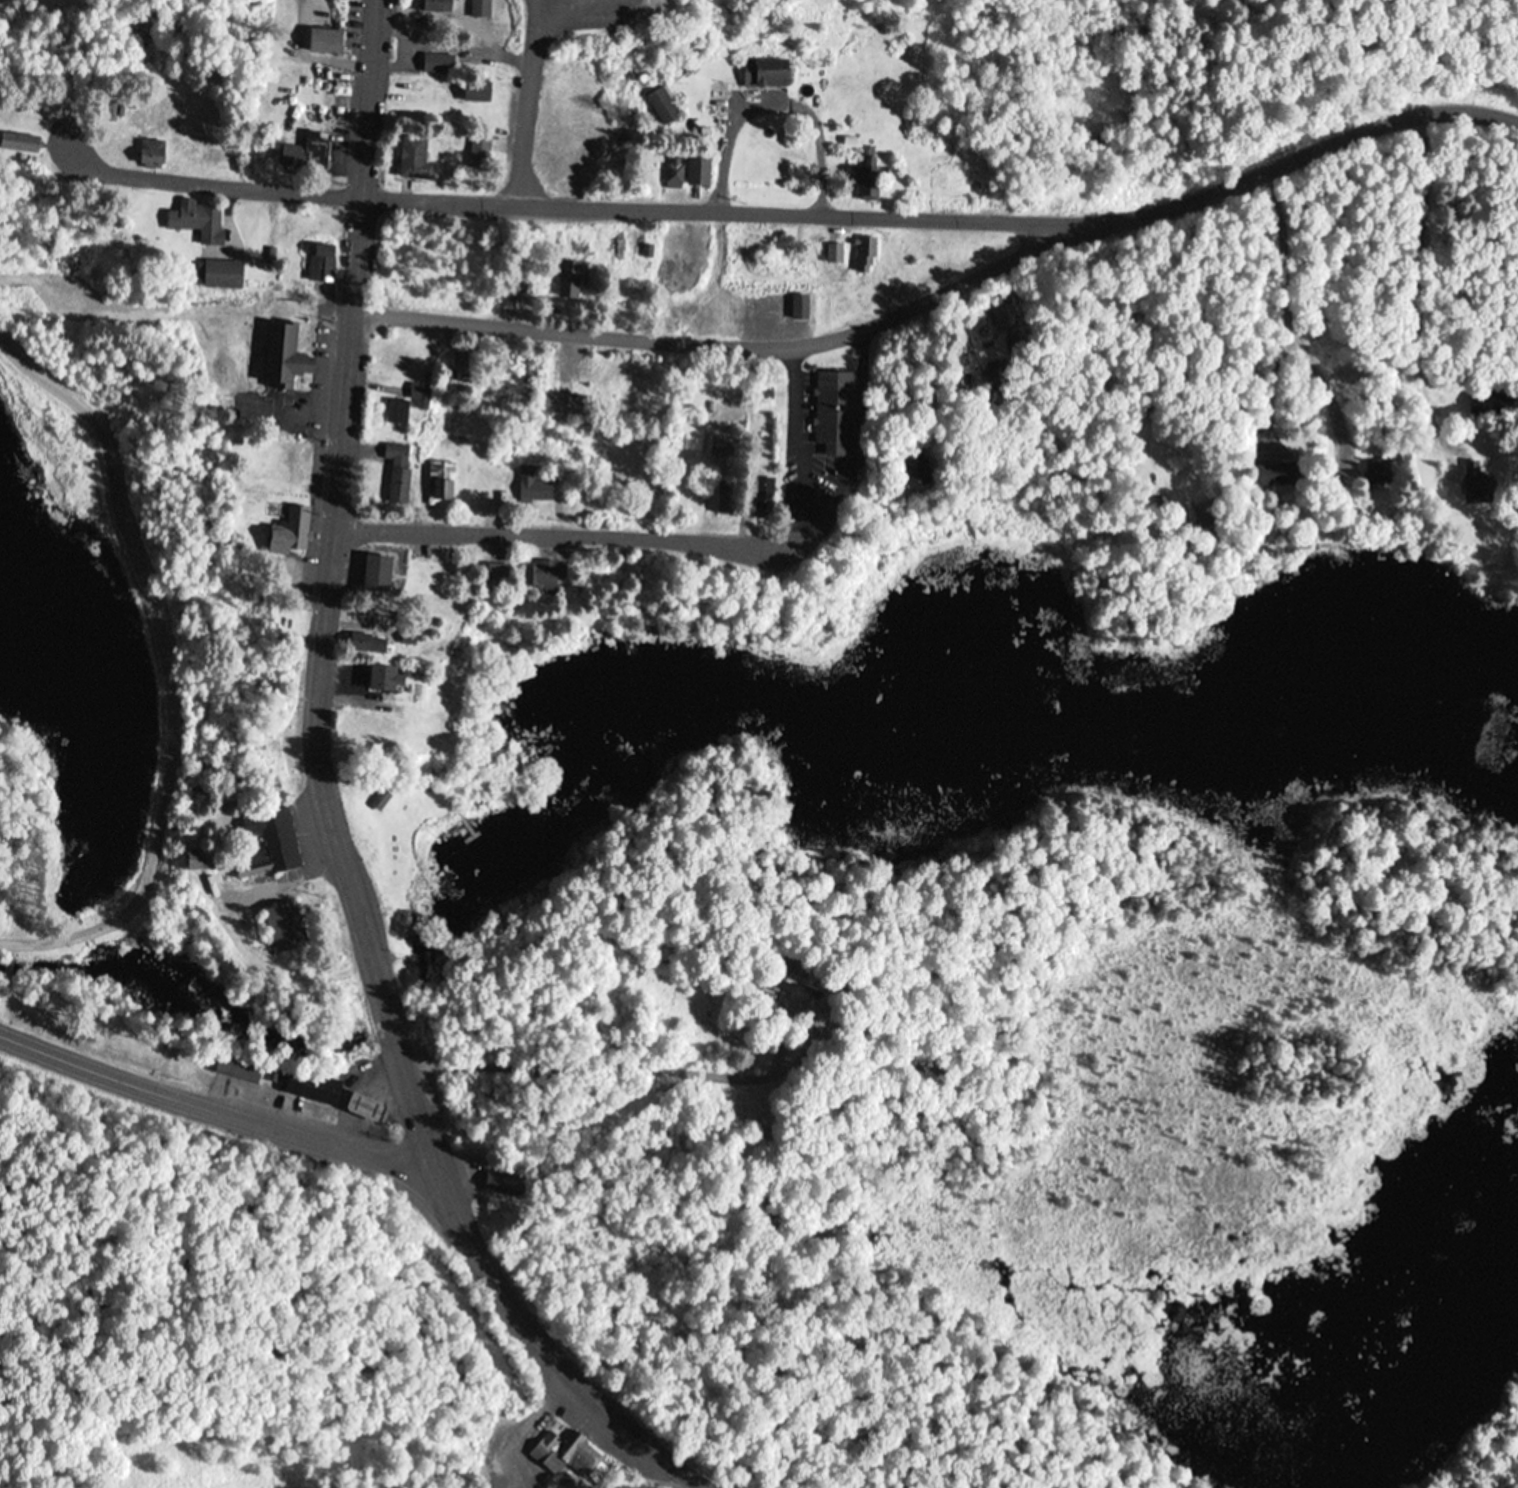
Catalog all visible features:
parking lot: (589, 16)
park: (123, 40)
park: (1023, 87)
road: (528, 103)
road: (206, 187)
road: (950, 219)
road: (1444, 275)
road: (1280, 306)
road: (743, 348)
building: (289, 357)
road: (660, 541)
park: (132, 574)
road: (327, 594)
park: (740, 598)
road: (174, 658)
pier: (465, 823)
pier: (472, 837)
park: (411, 851)
building: (241, 1070)
building: (309, 1086)
road: (217, 1102)
road: (554, 1351)

